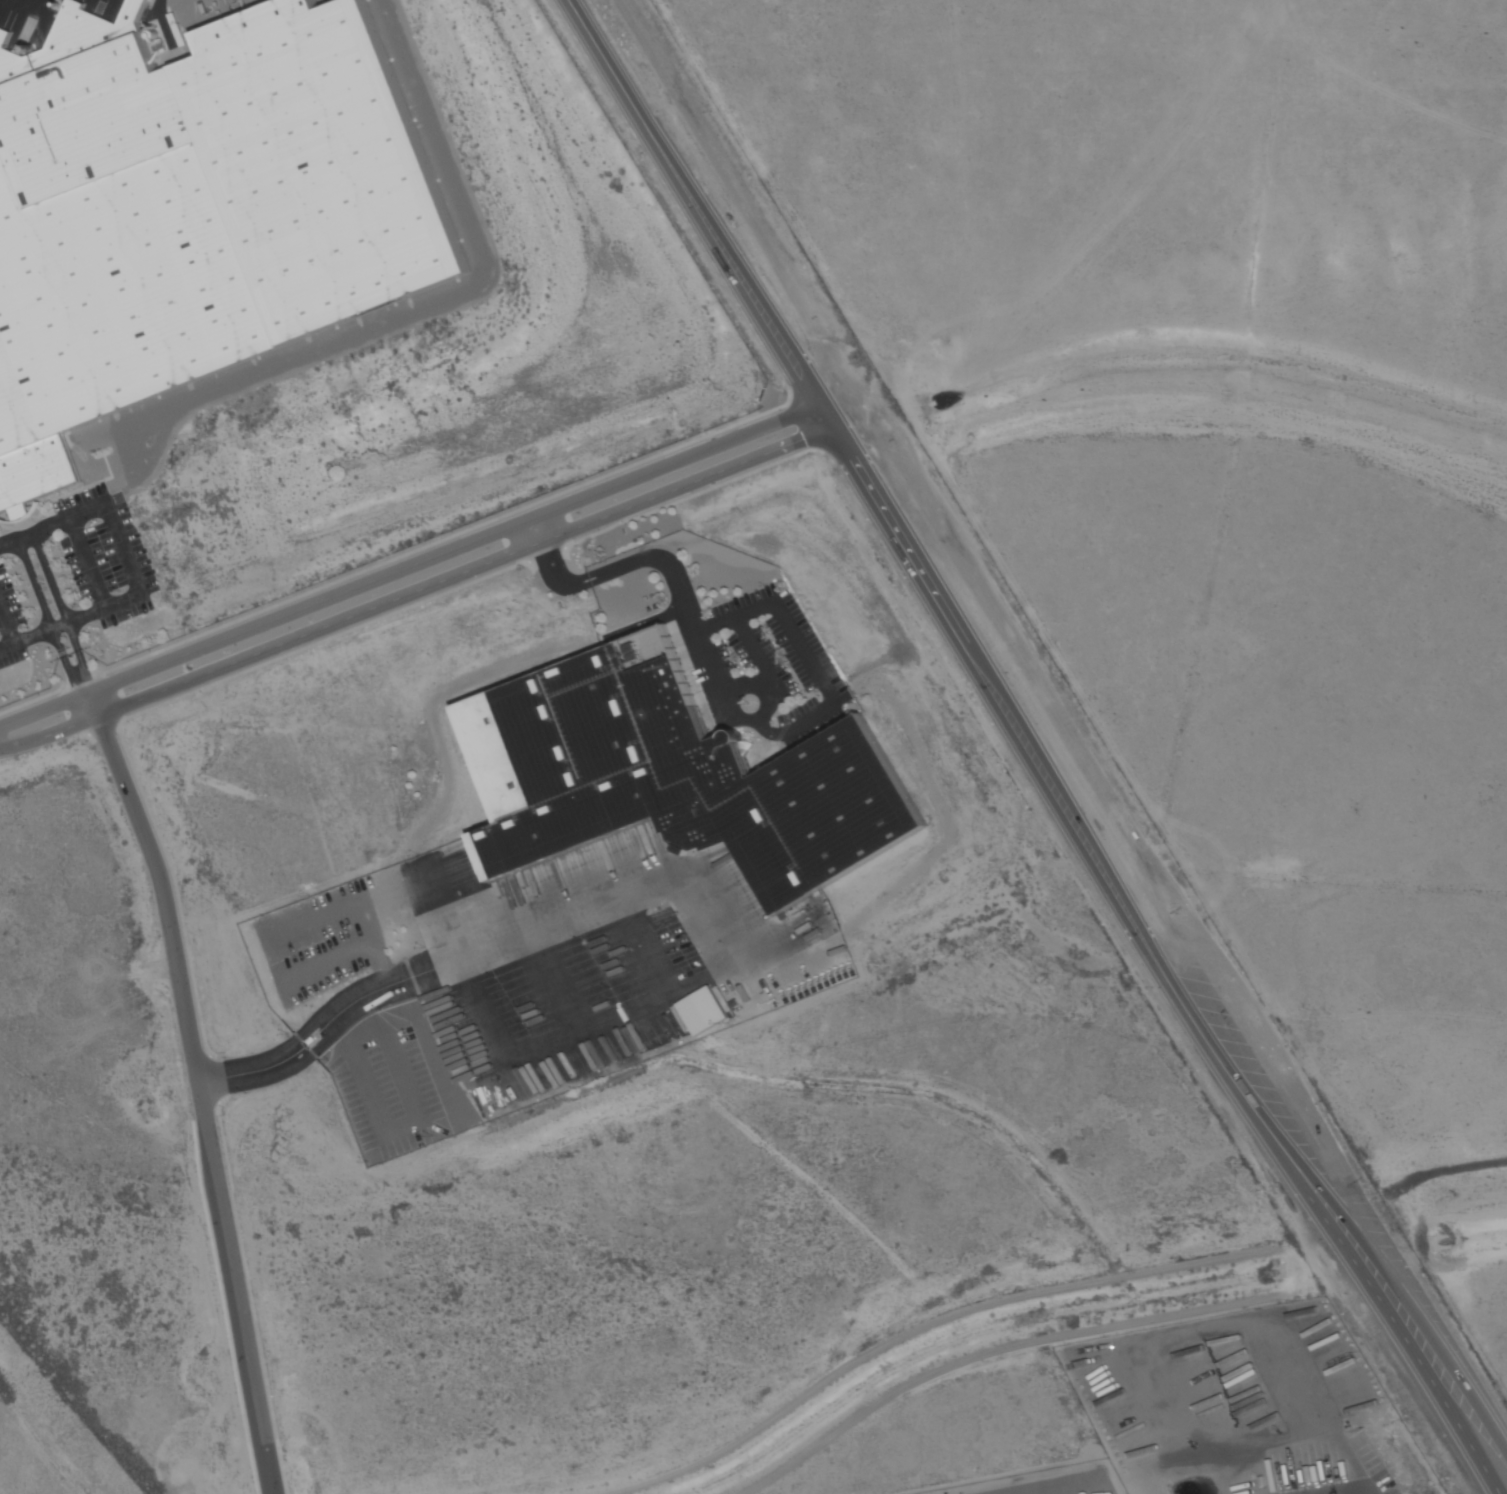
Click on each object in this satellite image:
building: (196, 210)
road: (535, 527)
road: (406, 561)
road: (625, 565)
road: (129, 570)
road: (463, 572)
road: (927, 586)
road: (61, 612)
road: (45, 619)
road: (799, 647)
road: (758, 656)
road: (710, 662)
parking lot: (779, 665)
road: (765, 688)
road: (731, 698)
road: (91, 702)
road: (737, 708)
road: (764, 730)
road: (49, 735)
building: (674, 778)
road: (286, 1044)
road: (186, 1082)
road: (1407, 1305)
road: (1397, 1327)
parking lot: (1051, 1483)

